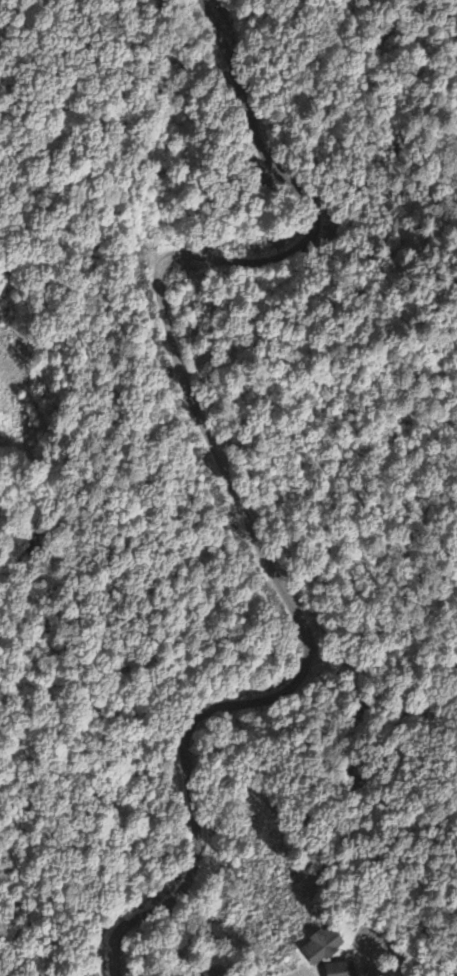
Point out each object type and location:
road: (224, 470)
road: (382, 662)
building: (321, 947)
building: (211, 973)

